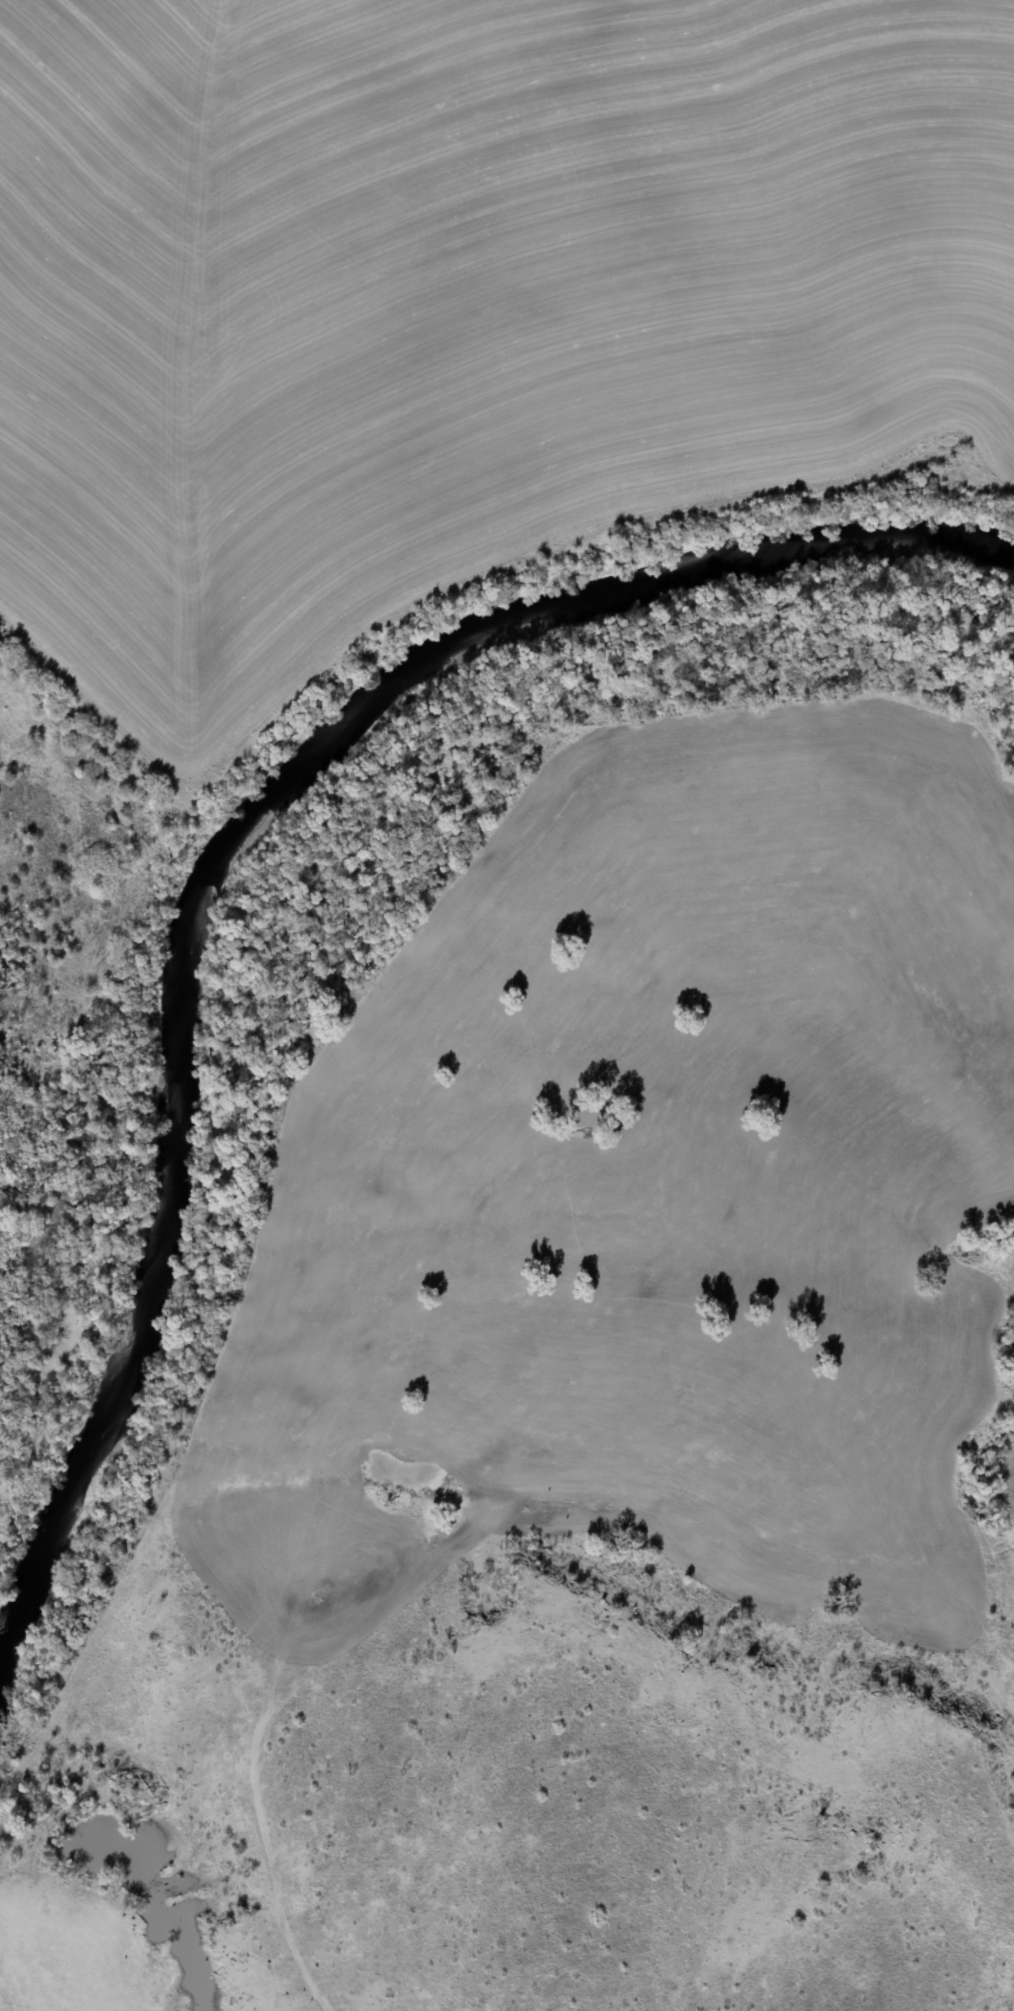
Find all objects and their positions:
river: (239, 845)

